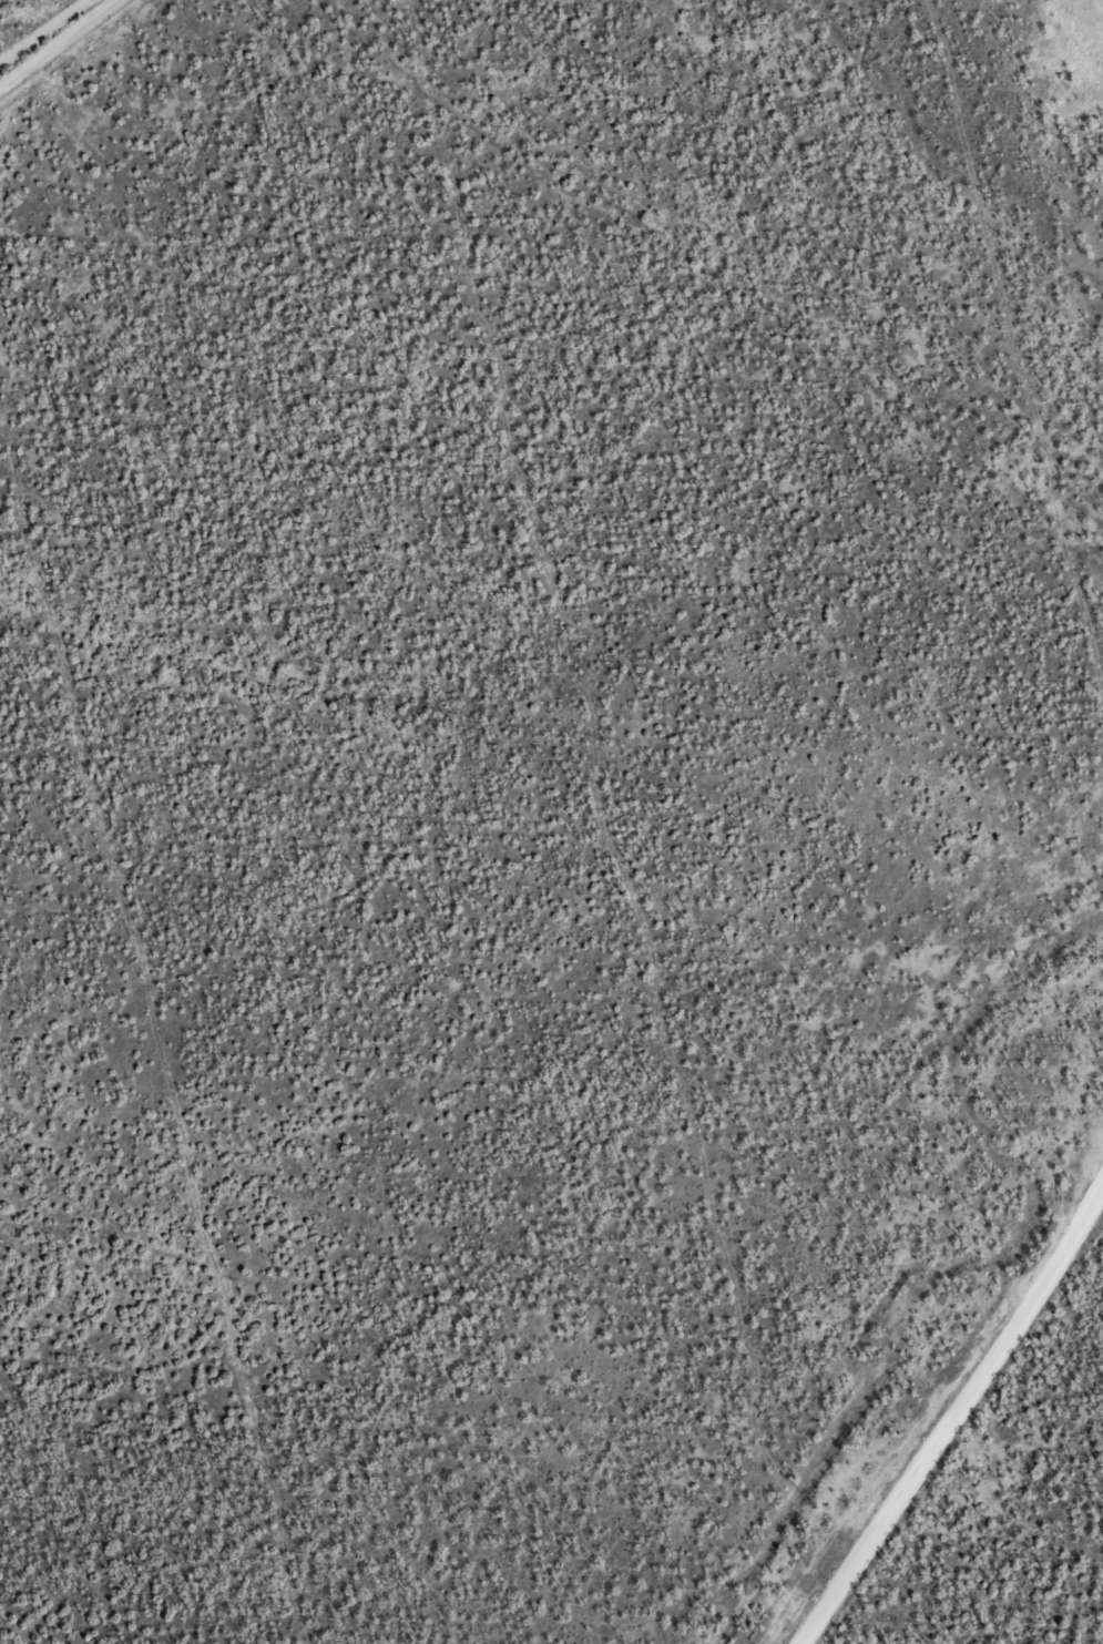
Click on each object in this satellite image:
road: (969, 1441)

